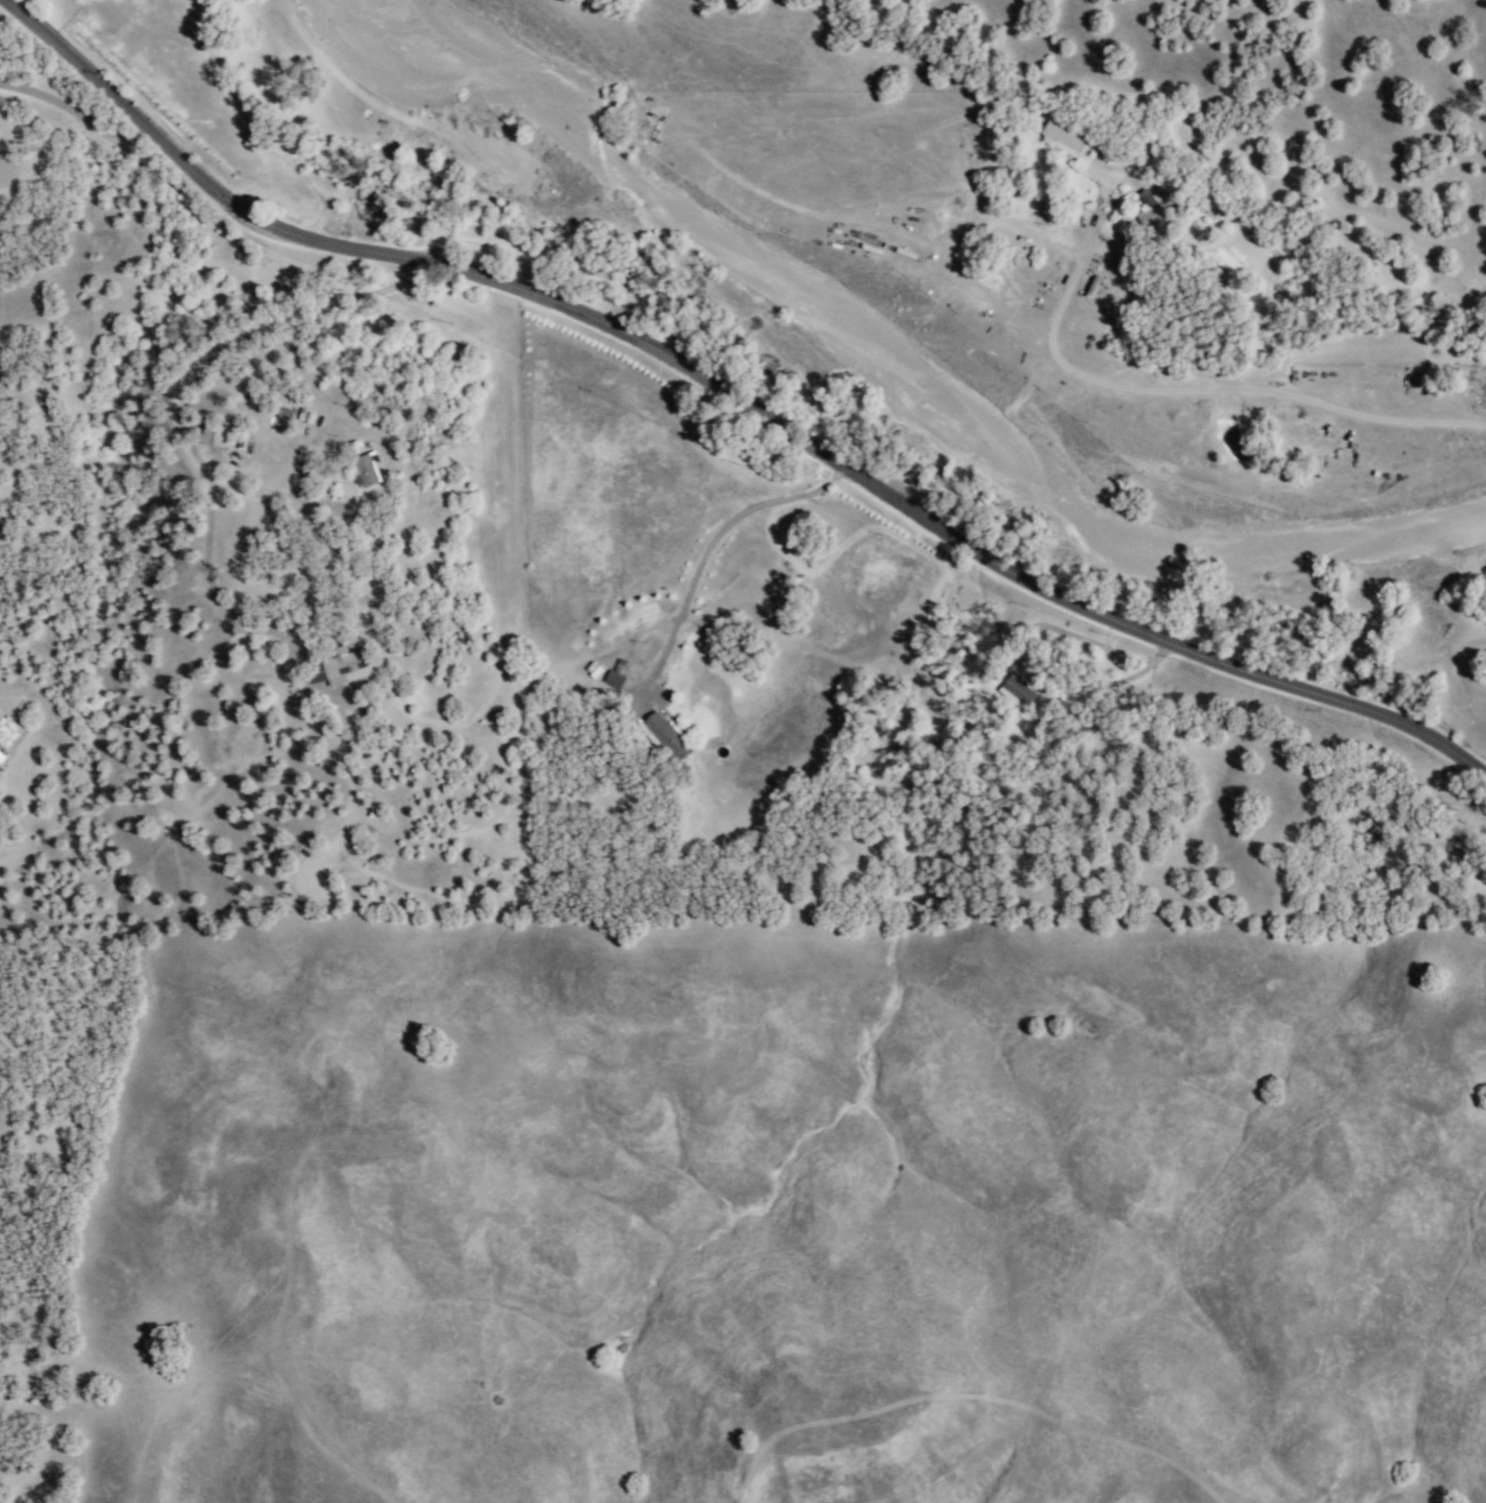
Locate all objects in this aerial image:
road: (98, 120)
building: (1061, 135)
building: (1144, 197)
building: (1150, 216)
road: (198, 355)
river: (915, 383)
road: (734, 397)
building: (283, 414)
building: (214, 435)
building: (365, 468)
road: (696, 576)
building: (345, 666)
building: (612, 680)
building: (1017, 690)
building: (662, 733)
building: (0, 757)

